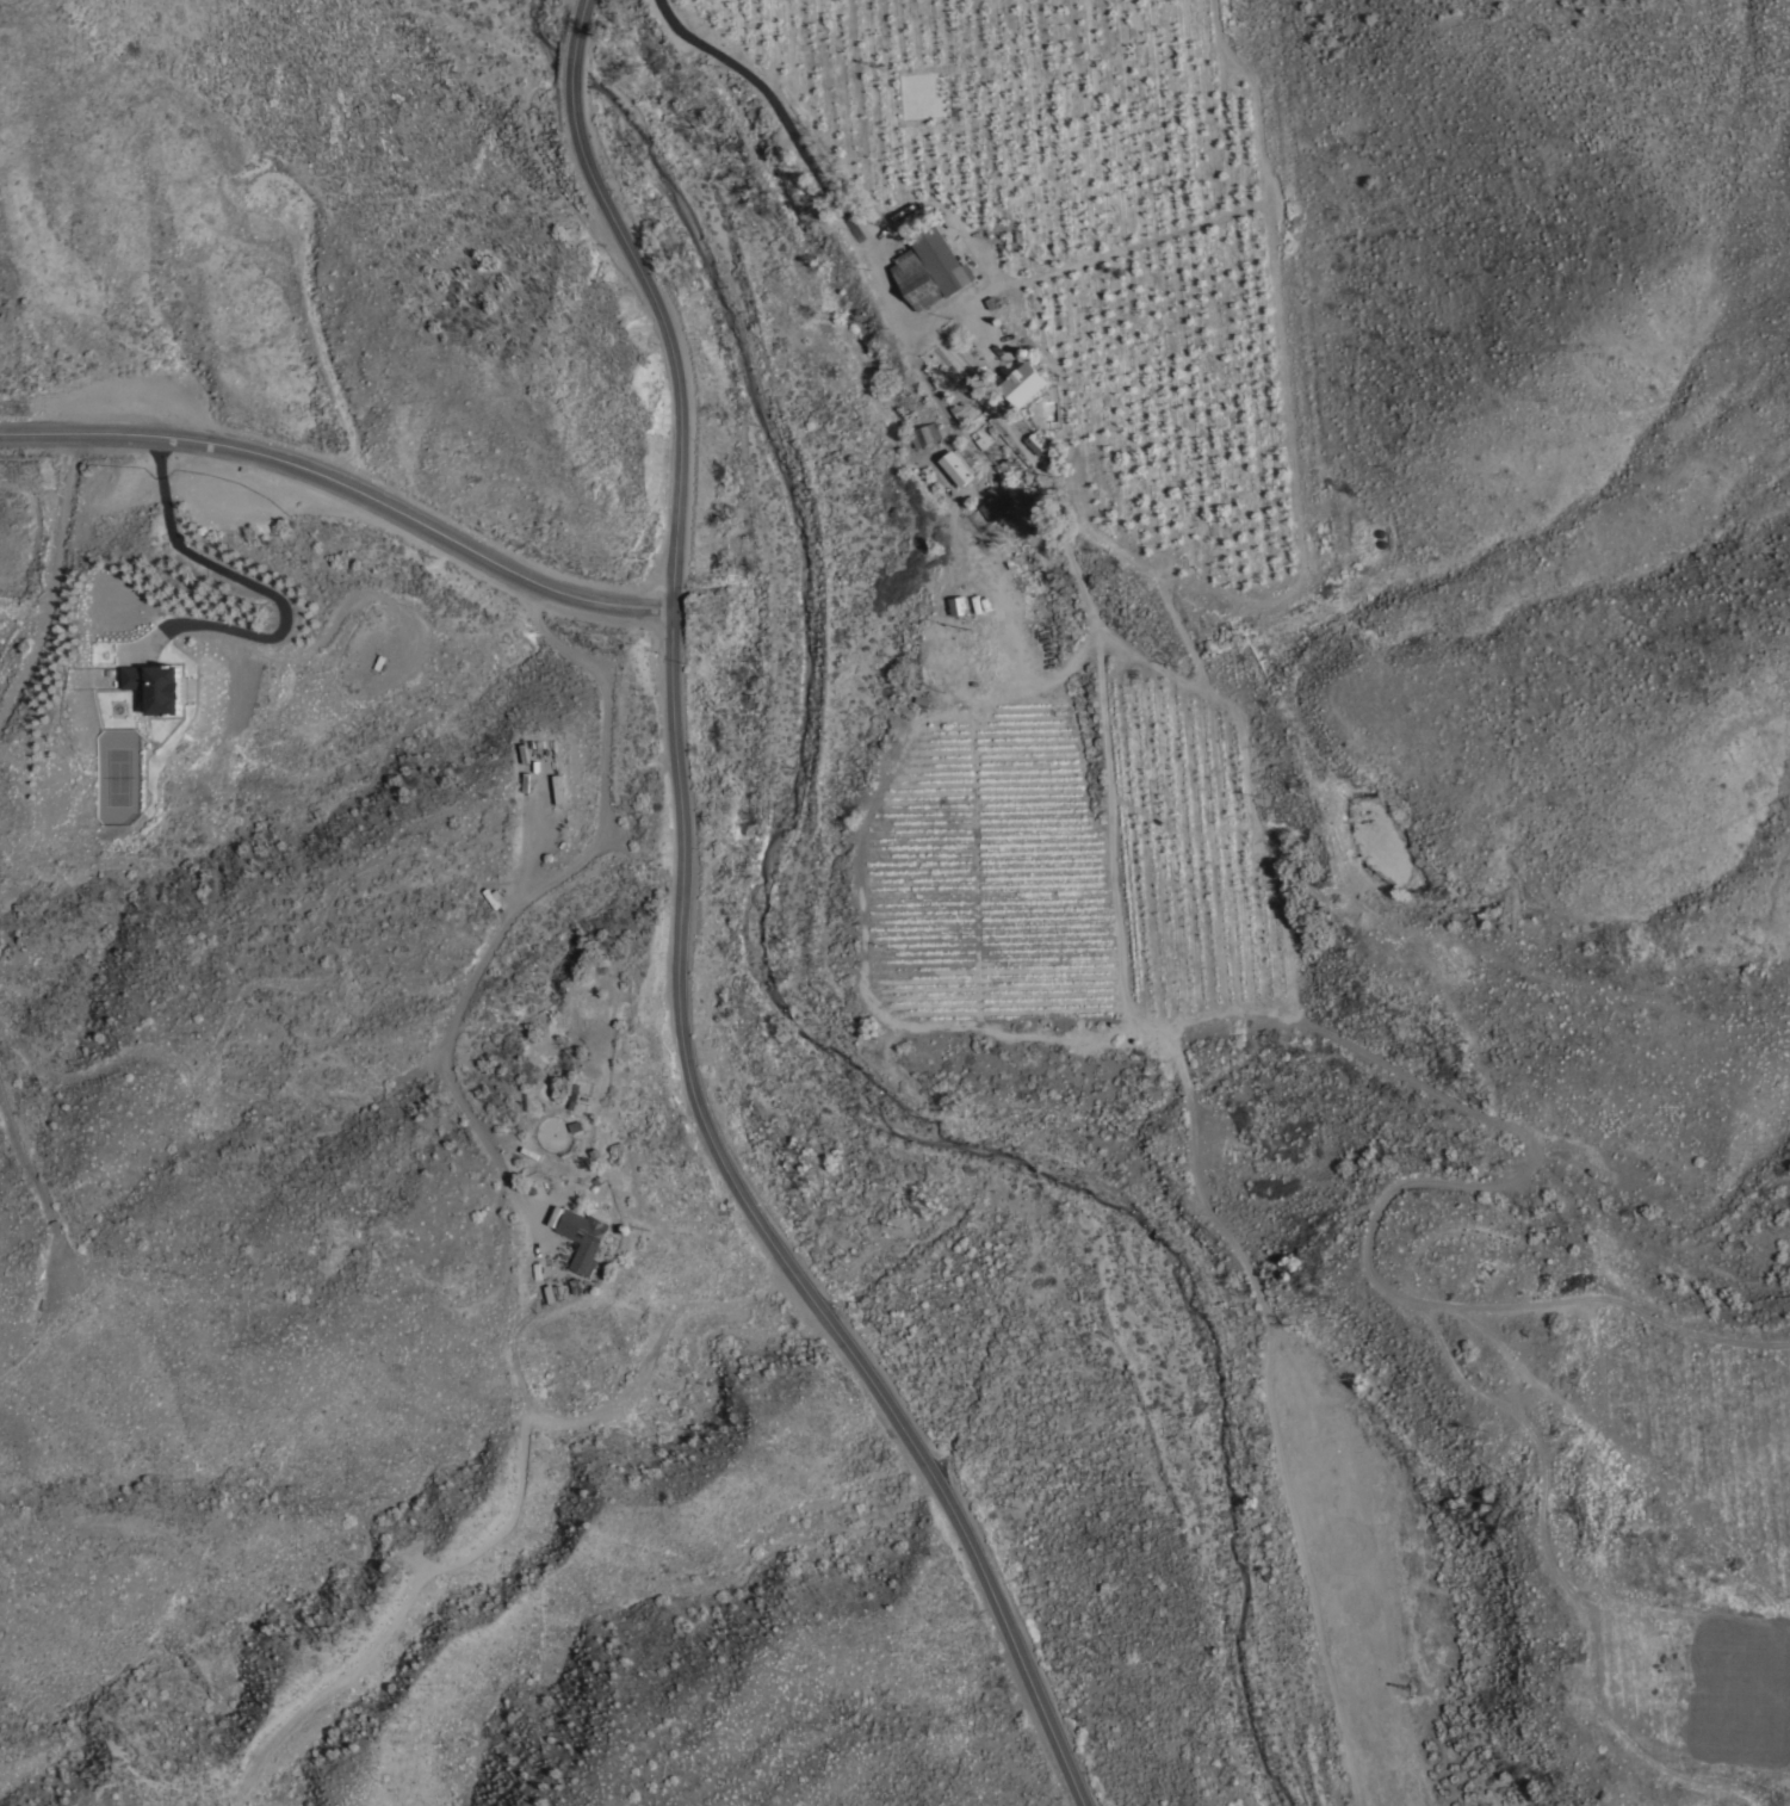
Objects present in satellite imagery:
road: (807, 144)
building: (930, 265)
building: (1024, 382)
road: (936, 406)
building: (924, 433)
building: (1038, 439)
building: (955, 466)
crop: (1207, 480)
road: (348, 487)
building: (992, 503)
road: (262, 590)
building: (956, 604)
road: (1100, 670)
building: (155, 685)
road: (674, 944)
building: (582, 1235)
crop: (1718, 1434)
crop: (1406, 1598)
crop: (1702, 1690)

